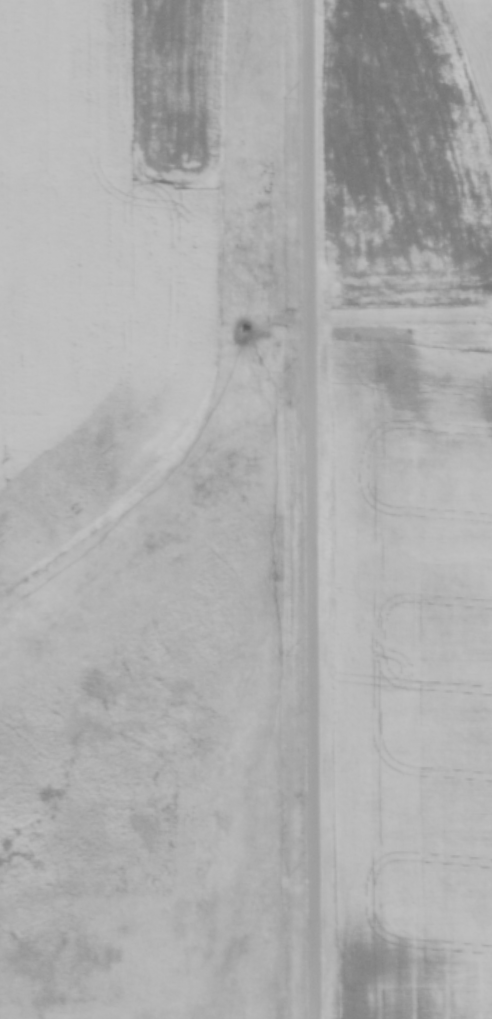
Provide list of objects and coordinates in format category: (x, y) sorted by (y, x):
road: (318, 509)

